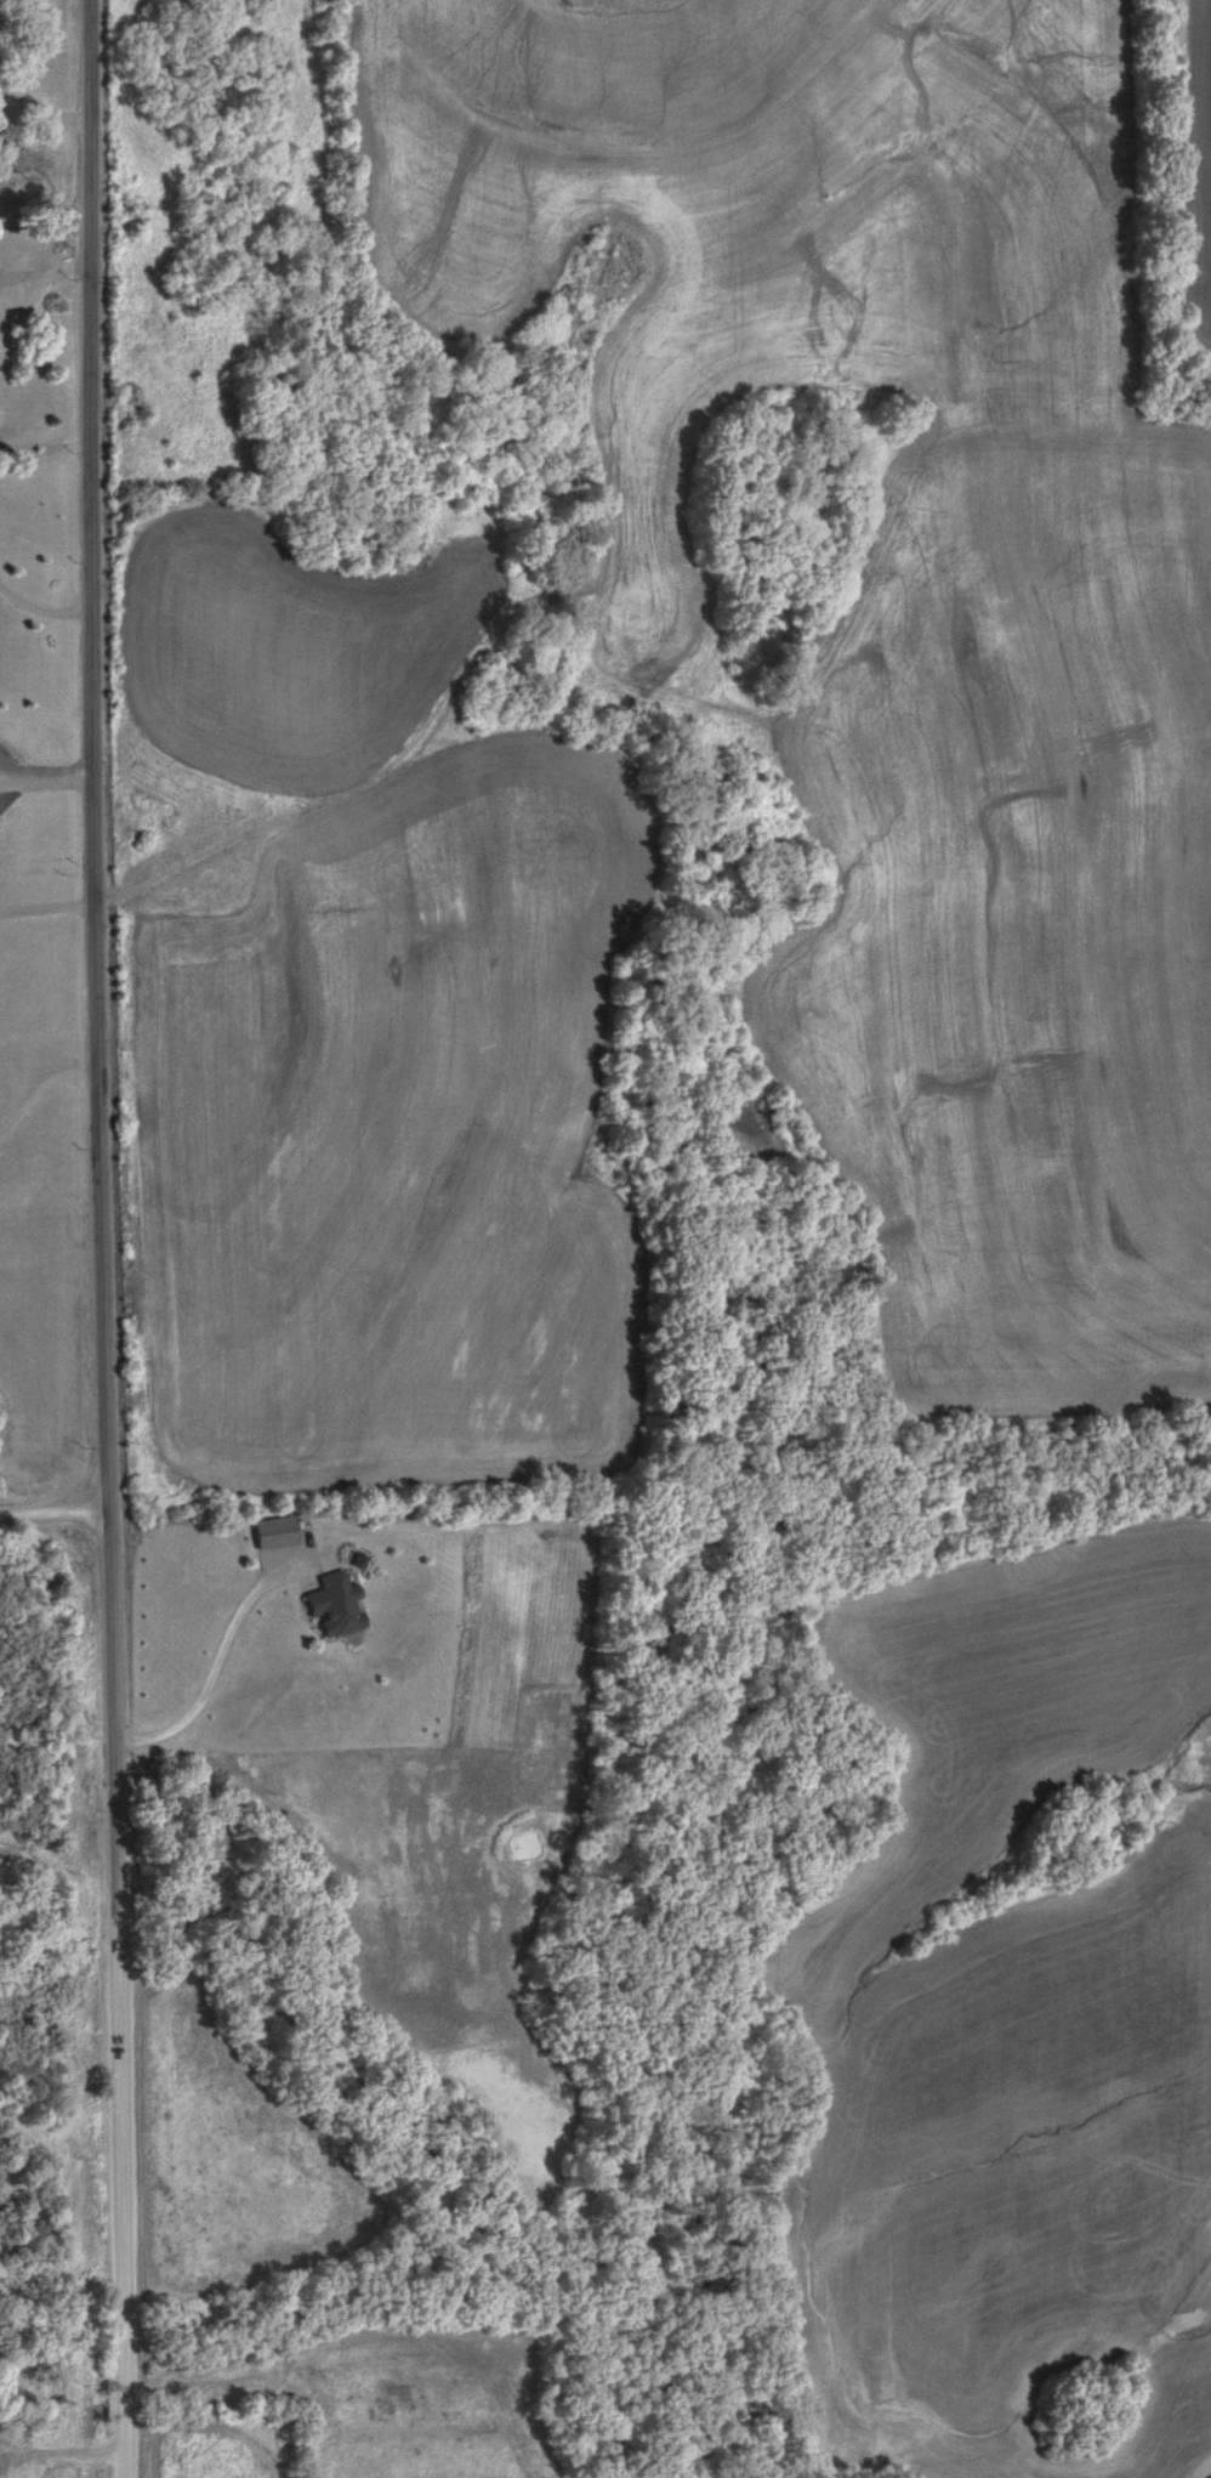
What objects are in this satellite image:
crop: (1013, 920)
crop: (406, 1135)
road: (107, 1238)
road: (55, 1519)
crop: (410, 1757)
crop: (1017, 2028)
crop: (232, 2155)
crop: (402, 2397)

